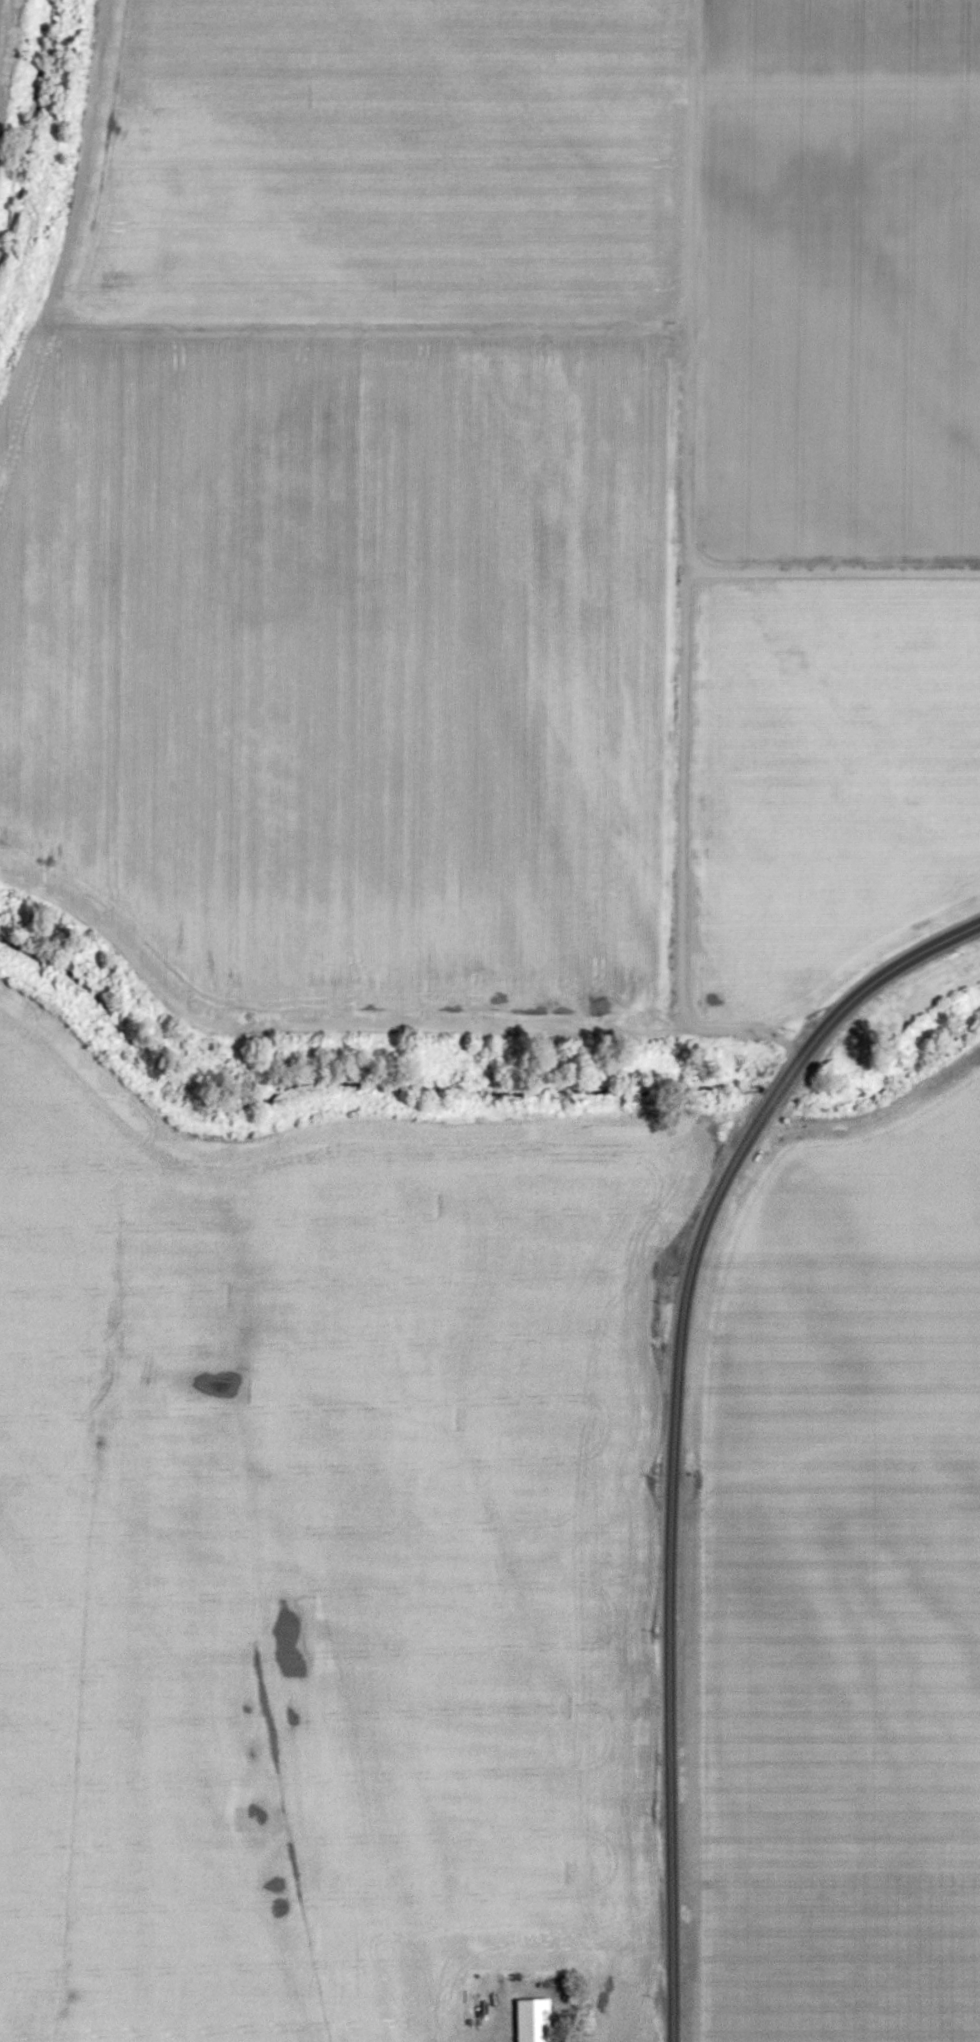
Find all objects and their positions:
road: (675, 1423)
building: (519, 2020)

